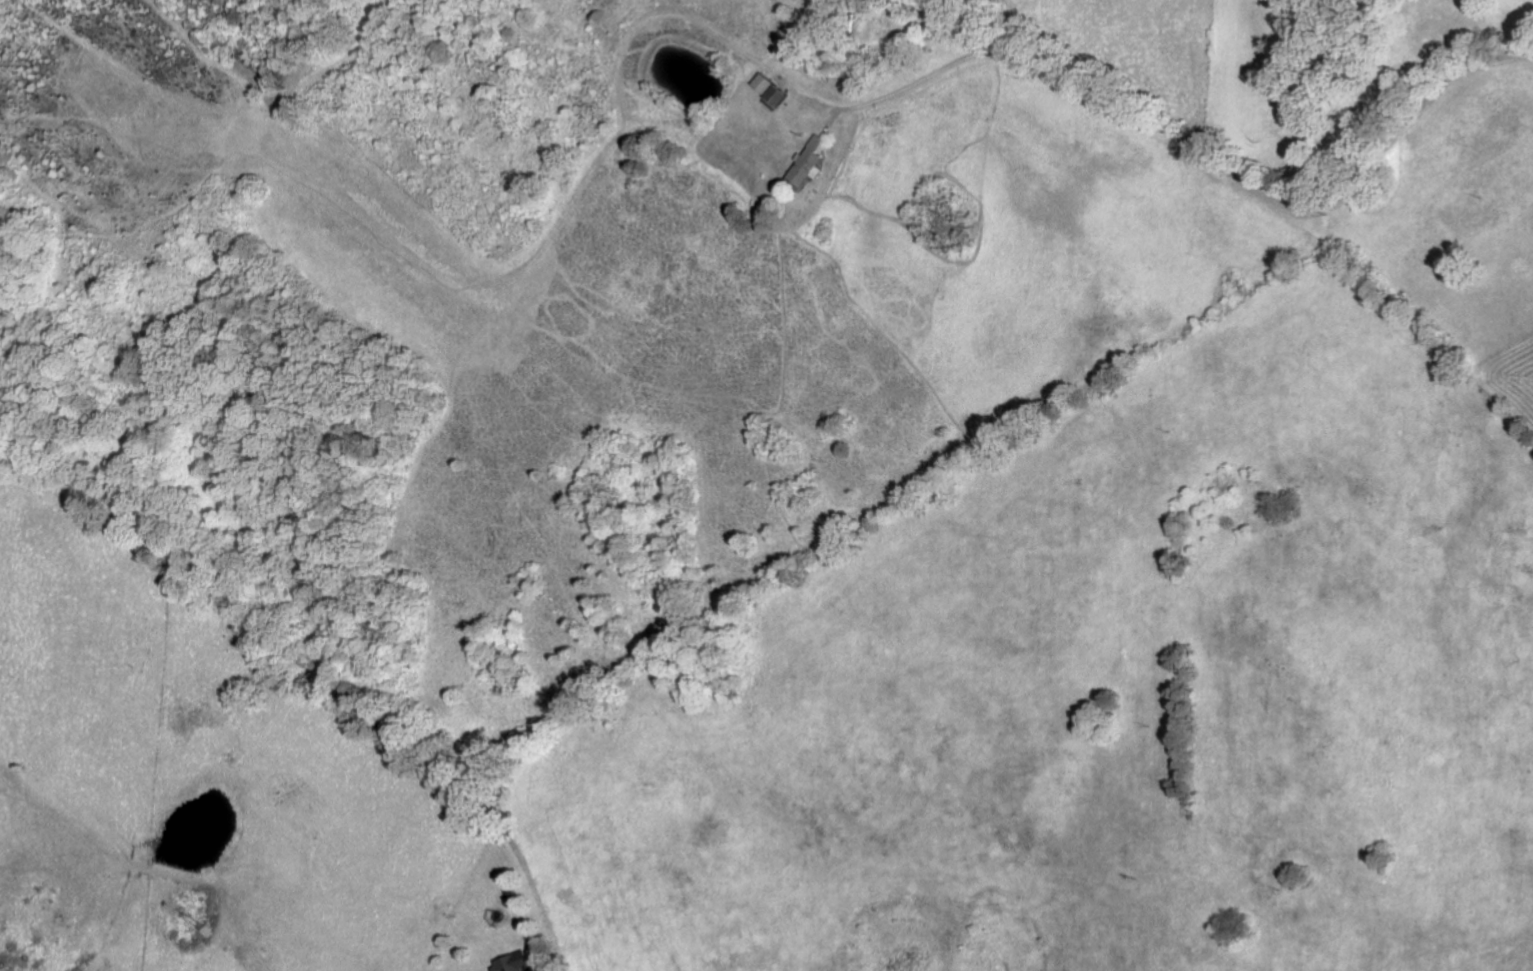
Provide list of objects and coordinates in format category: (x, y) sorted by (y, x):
building: (766, 89)
building: (805, 164)
building: (519, 961)

